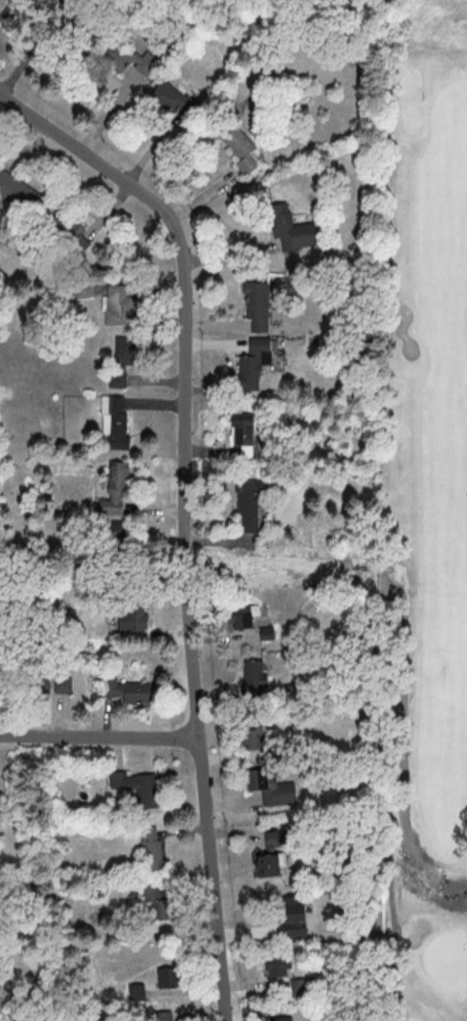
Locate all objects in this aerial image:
building: (129, 58)
building: (170, 98)
building: (238, 144)
building: (20, 193)
building: (292, 229)
building: (71, 232)
building: (257, 302)
building: (118, 304)
building: (122, 359)
building: (254, 364)
building: (115, 421)
building: (243, 432)
building: (116, 490)
park: (426, 503)
building: (249, 507)
road: (185, 511)
building: (133, 617)
building: (241, 617)
building: (255, 674)
building: (63, 683)
building: (127, 690)
road: (98, 735)
building: (254, 736)
building: (138, 787)
building: (271, 787)
building: (153, 849)
building: (271, 864)
building: (158, 899)
building: (277, 966)
building: (169, 976)
building: (300, 986)
building: (166, 1015)
building: (286, 1018)

